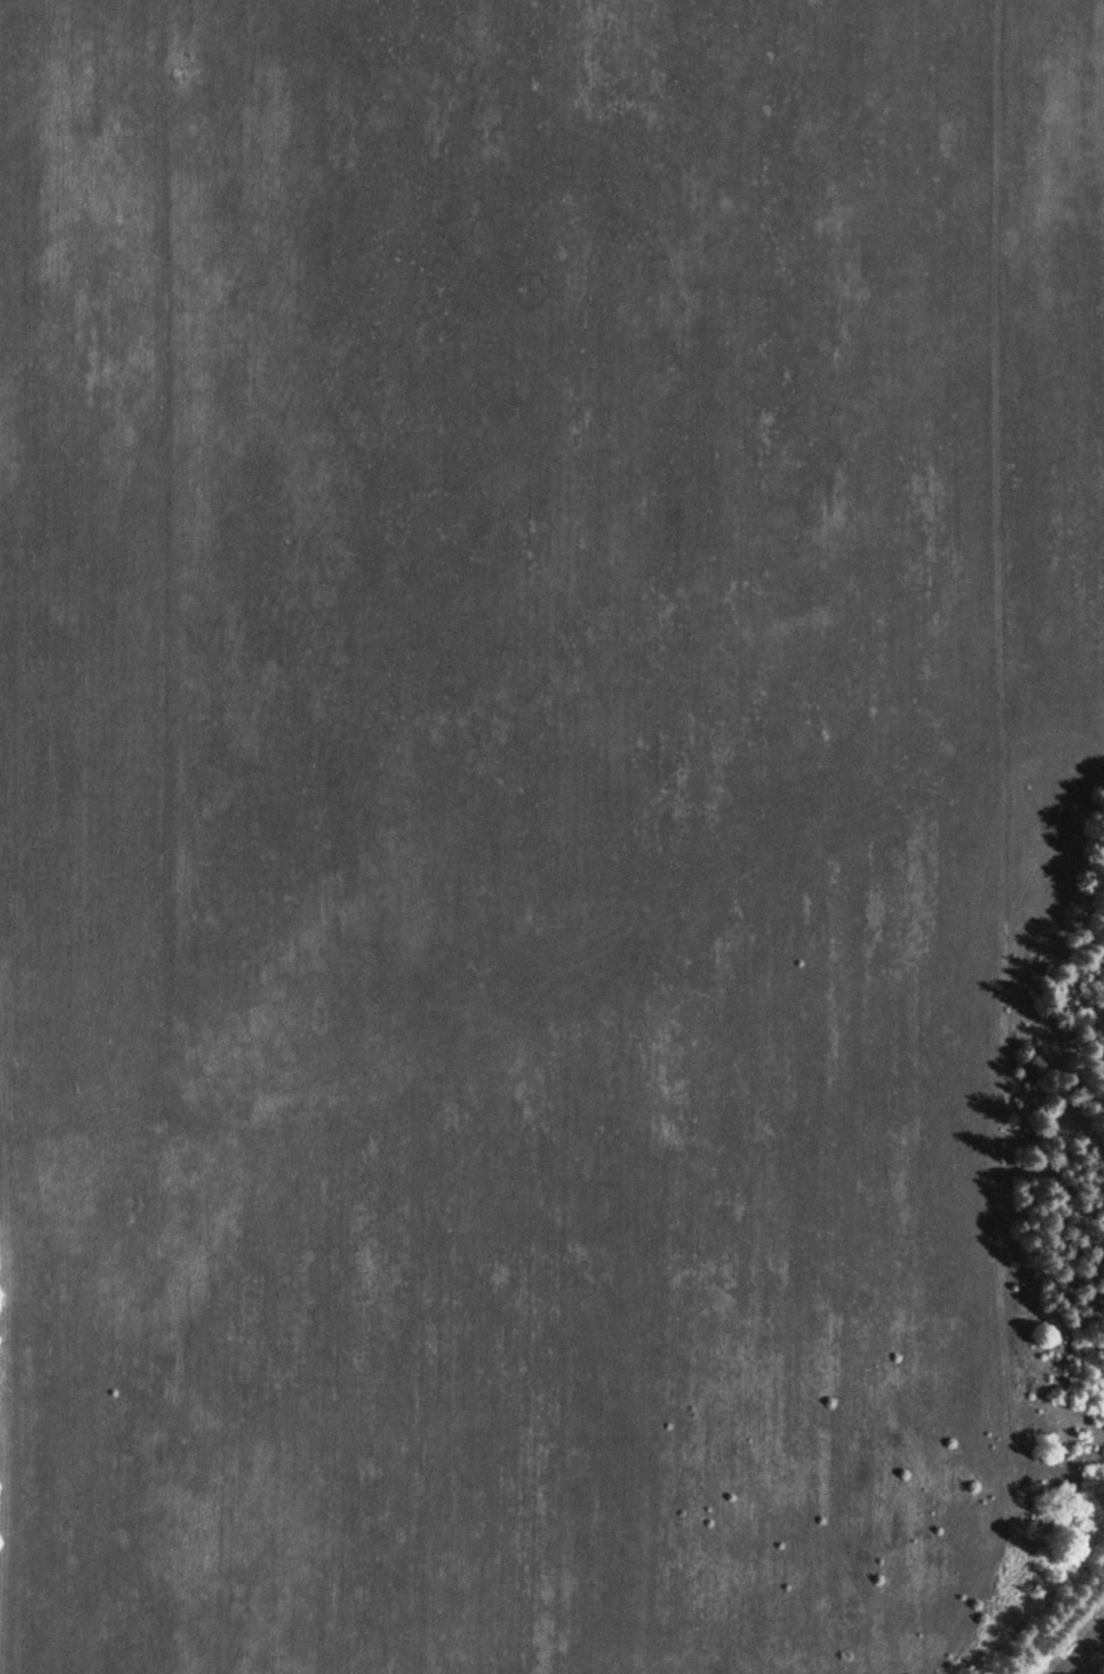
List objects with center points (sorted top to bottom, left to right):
railway: (1083, 1651)

